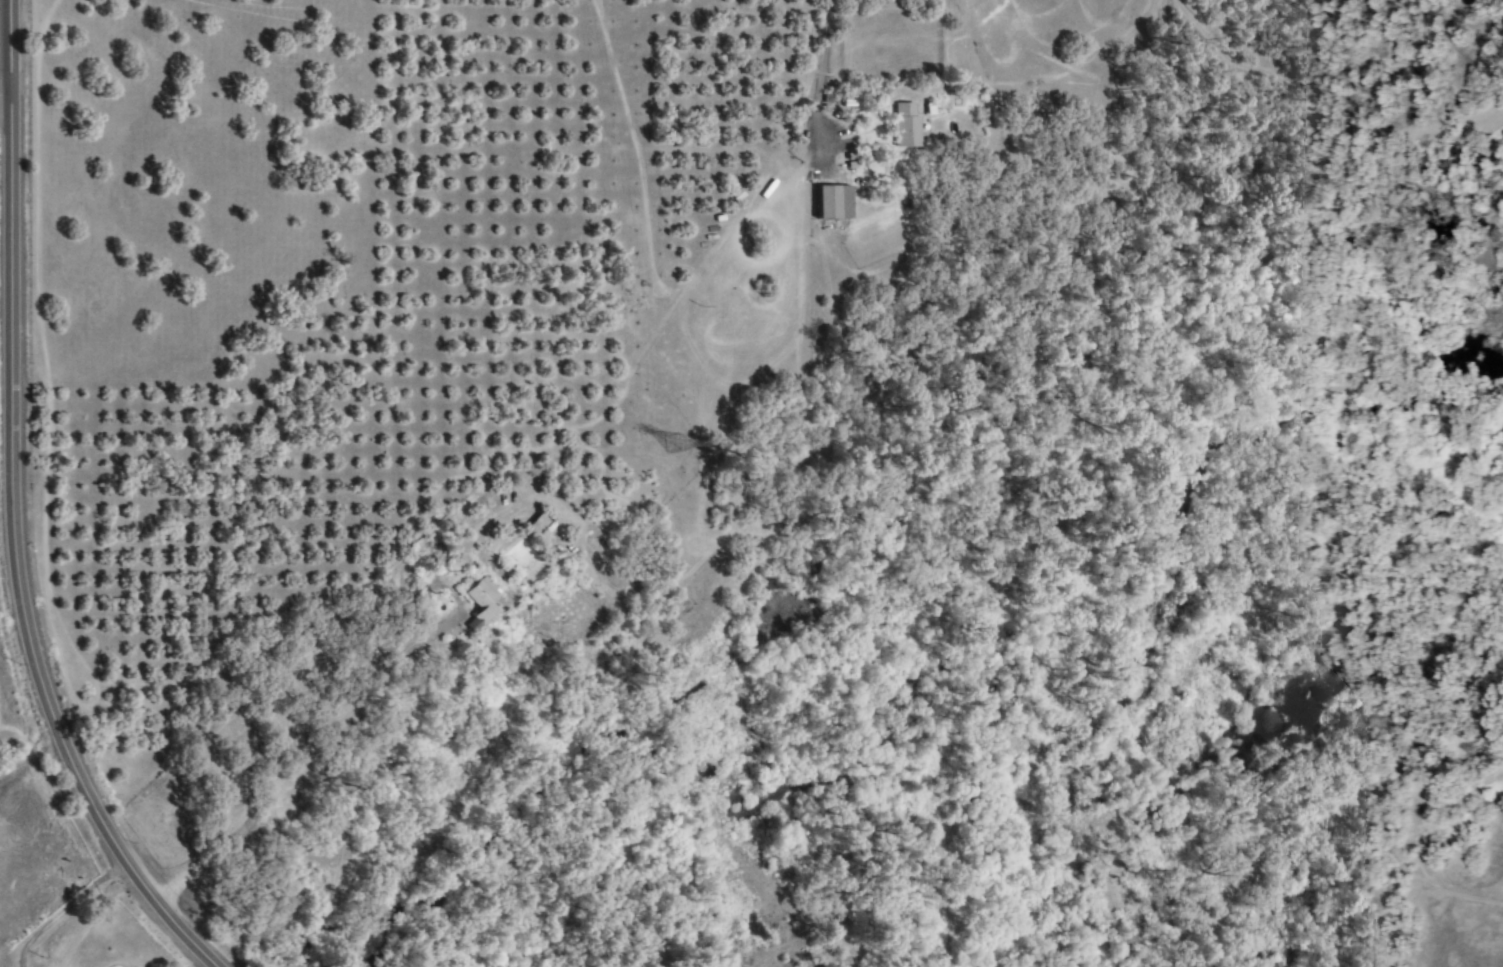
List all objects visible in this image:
road: (853, 50)
road: (5, 96)
building: (904, 126)
building: (829, 203)
power tower: (684, 443)
road: (13, 511)
building: (484, 604)
road: (308, 763)

